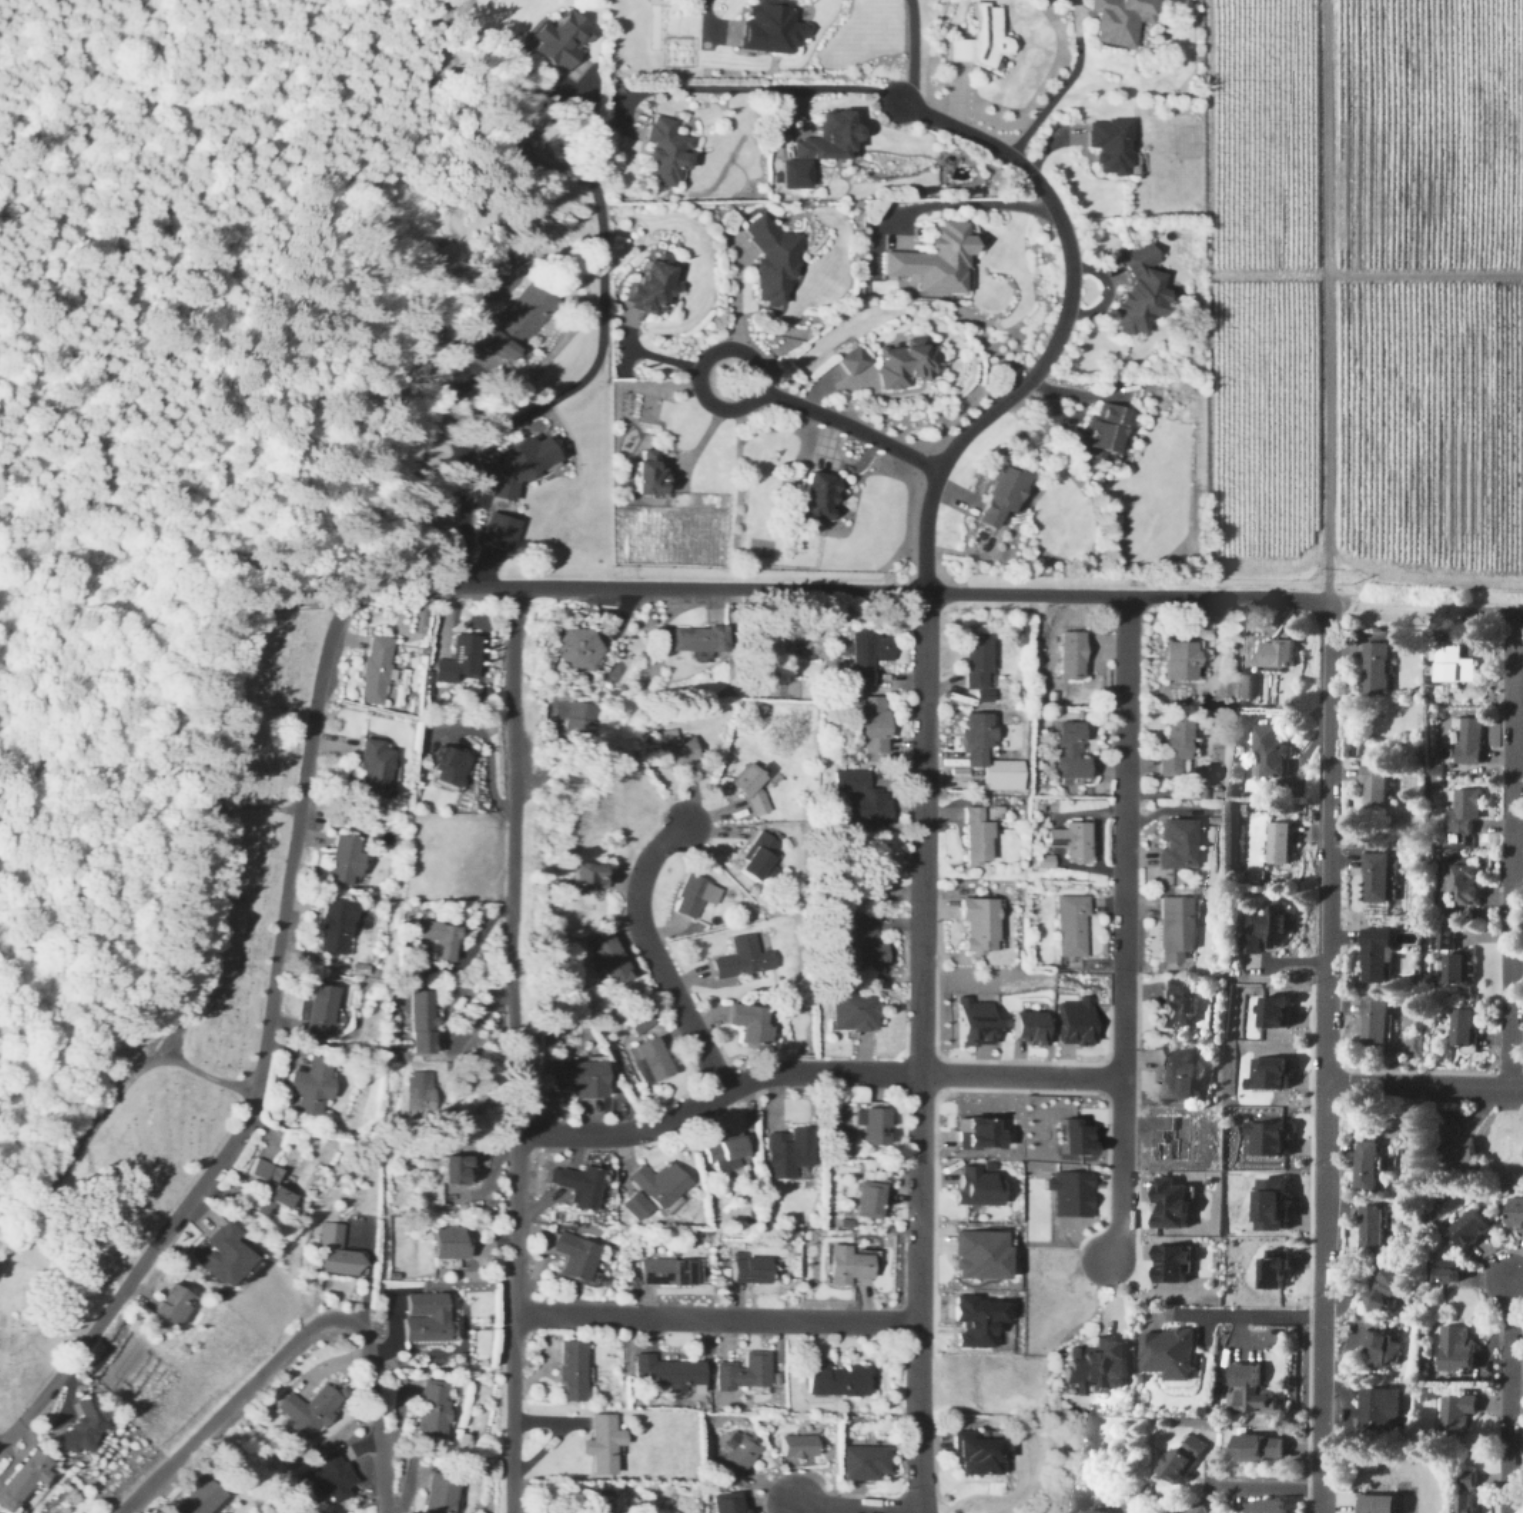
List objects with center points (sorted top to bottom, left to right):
road: (701, 14)
building: (1119, 21)
building: (772, 25)
building: (561, 38)
building: (976, 39)
road: (907, 51)
road: (1058, 93)
building: (826, 136)
building: (1106, 146)
building: (665, 153)
building: (795, 171)
road: (971, 203)
road: (1051, 206)
building: (770, 261)
building: (931, 262)
road: (1425, 277)
building: (648, 286)
building: (1137, 288)
road: (736, 293)
road: (1327, 301)
building: (519, 321)
building: (855, 358)
building: (898, 364)
road: (701, 369)
road: (592, 371)
road: (850, 427)
building: (1104, 430)
building: (517, 465)
building: (646, 474)
building: (999, 495)
building: (813, 498)
building: (495, 531)
road: (575, 589)
road: (1396, 605)
road: (1497, 610)
road: (159, 639)
building: (697, 640)
building: (579, 650)
building: (866, 652)
building: (1070, 654)
building: (1276, 654)
building: (458, 660)
building: (976, 660)
building: (1178, 660)
building: (1452, 664)
building: (1374, 669)
building: (374, 670)
building: (1245, 684)
building: (561, 707)
building: (577, 724)
building: (870, 725)
building: (975, 740)
building: (1467, 741)
building: (1173, 744)
building: (671, 748)
building: (1268, 749)
building: (1068, 752)
building: (447, 767)
building: (371, 768)
building: (749, 787)
building: (1373, 787)
building: (861, 799)
building: (1461, 812)
road: (923, 833)
road: (1125, 836)
building: (975, 838)
building: (1070, 839)
building: (1279, 843)
road: (1326, 843)
building: (1174, 844)
road: (1510, 851)
building: (757, 857)
road: (513, 860)
building: (343, 861)
building: (1043, 863)
building: (866, 876)
building: (585, 878)
building: (1374, 878)
building: (1462, 886)
building: (689, 897)
road: (200, 924)
building: (976, 926)
building: (334, 927)
building: (1069, 927)
building: (1173, 930)
building: (1267, 933)
building: (441, 939)
building: (867, 945)
road: (652, 954)
building: (606, 956)
building: (1375, 956)
building: (738, 958)
building: (1454, 963)
building: (1172, 1004)
building: (851, 1010)
building: (1279, 1010)
building: (318, 1012)
building: (978, 1019)
building: (1078, 1019)
building: (420, 1022)
building: (749, 1022)
building: (1373, 1022)
building: (1031, 1025)
building: (1460, 1028)
park: (223, 1030)
building: (649, 1061)
building: (1176, 1072)
building: (1272, 1072)
road: (813, 1073)
road: (212, 1076)
building: (578, 1079)
building: (312, 1085)
road: (1423, 1087)
building: (419, 1096)
building: (871, 1127)
building: (980, 1132)
building: (1079, 1135)
building: (1271, 1135)
building: (1455, 1146)
building: (787, 1152)
building: (722, 1153)
building: (1365, 1163)
building: (454, 1170)
road: (1120, 1171)
building: (656, 1184)
building: (979, 1184)
building: (577, 1185)
building: (268, 1189)
building: (1072, 1192)
building: (867, 1200)
building: (1175, 1201)
building: (1277, 1202)
road: (1323, 1202)
building: (633, 1206)
building: (1515, 1216)
building: (1371, 1230)
building: (1468, 1230)
building: (447, 1244)
building: (336, 1252)
building: (982, 1253)
building: (220, 1255)
building: (573, 1256)
building: (1175, 1261)
building: (847, 1267)
building: (1279, 1267)
building: (748, 1271)
building: (667, 1273)
building: (1443, 1274)
road: (368, 1278)
road: (128, 1280)
building: (1382, 1290)
road: (918, 1293)
building: (169, 1305)
building: (1453, 1307)
building: (424, 1317)
road: (1246, 1317)
building: (979, 1319)
road: (716, 1320)
road: (513, 1322)
road: (304, 1333)
building: (1453, 1349)
building: (1378, 1350)
building: (1167, 1355)
building: (1095, 1368)
building: (569, 1371)
building: (667, 1372)
building: (743, 1372)
building: (836, 1381)
building: (1250, 1391)
road: (1507, 1397)
building: (1375, 1408)
building: (431, 1409)
building: (305, 1410)
building: (1452, 1411)
road: (1320, 1415)
building: (82, 1427)
building: (601, 1444)
building: (796, 1446)
building: (1257, 1450)
building: (973, 1455)
building: (738, 1456)
building: (1182, 1460)
building: (863, 1464)
building: (329, 1476)
building: (23, 1480)
building: (1465, 1481)
road: (1264, 1490)
building: (438, 1493)
building: (200, 1499)
building: (595, 1502)
building: (730, 1502)
building: (1375, 1504)
building: (1465, 1504)
building: (1265, 1507)
road: (857, 1509)
building: (1200, 1511)
building: (1098, 1512)

